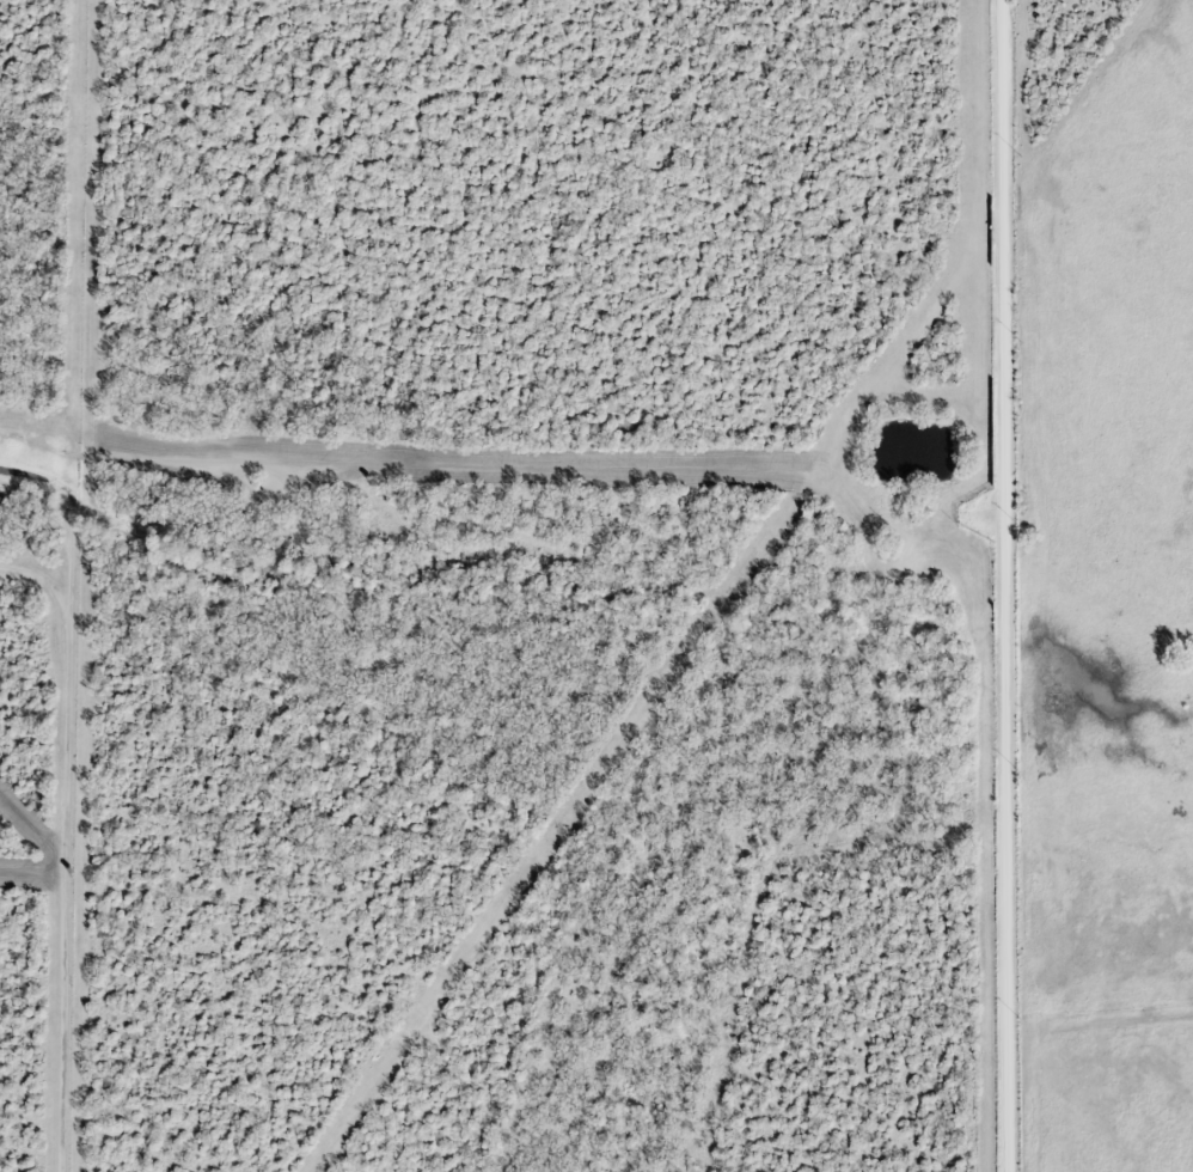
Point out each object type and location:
road: (1004, 585)

